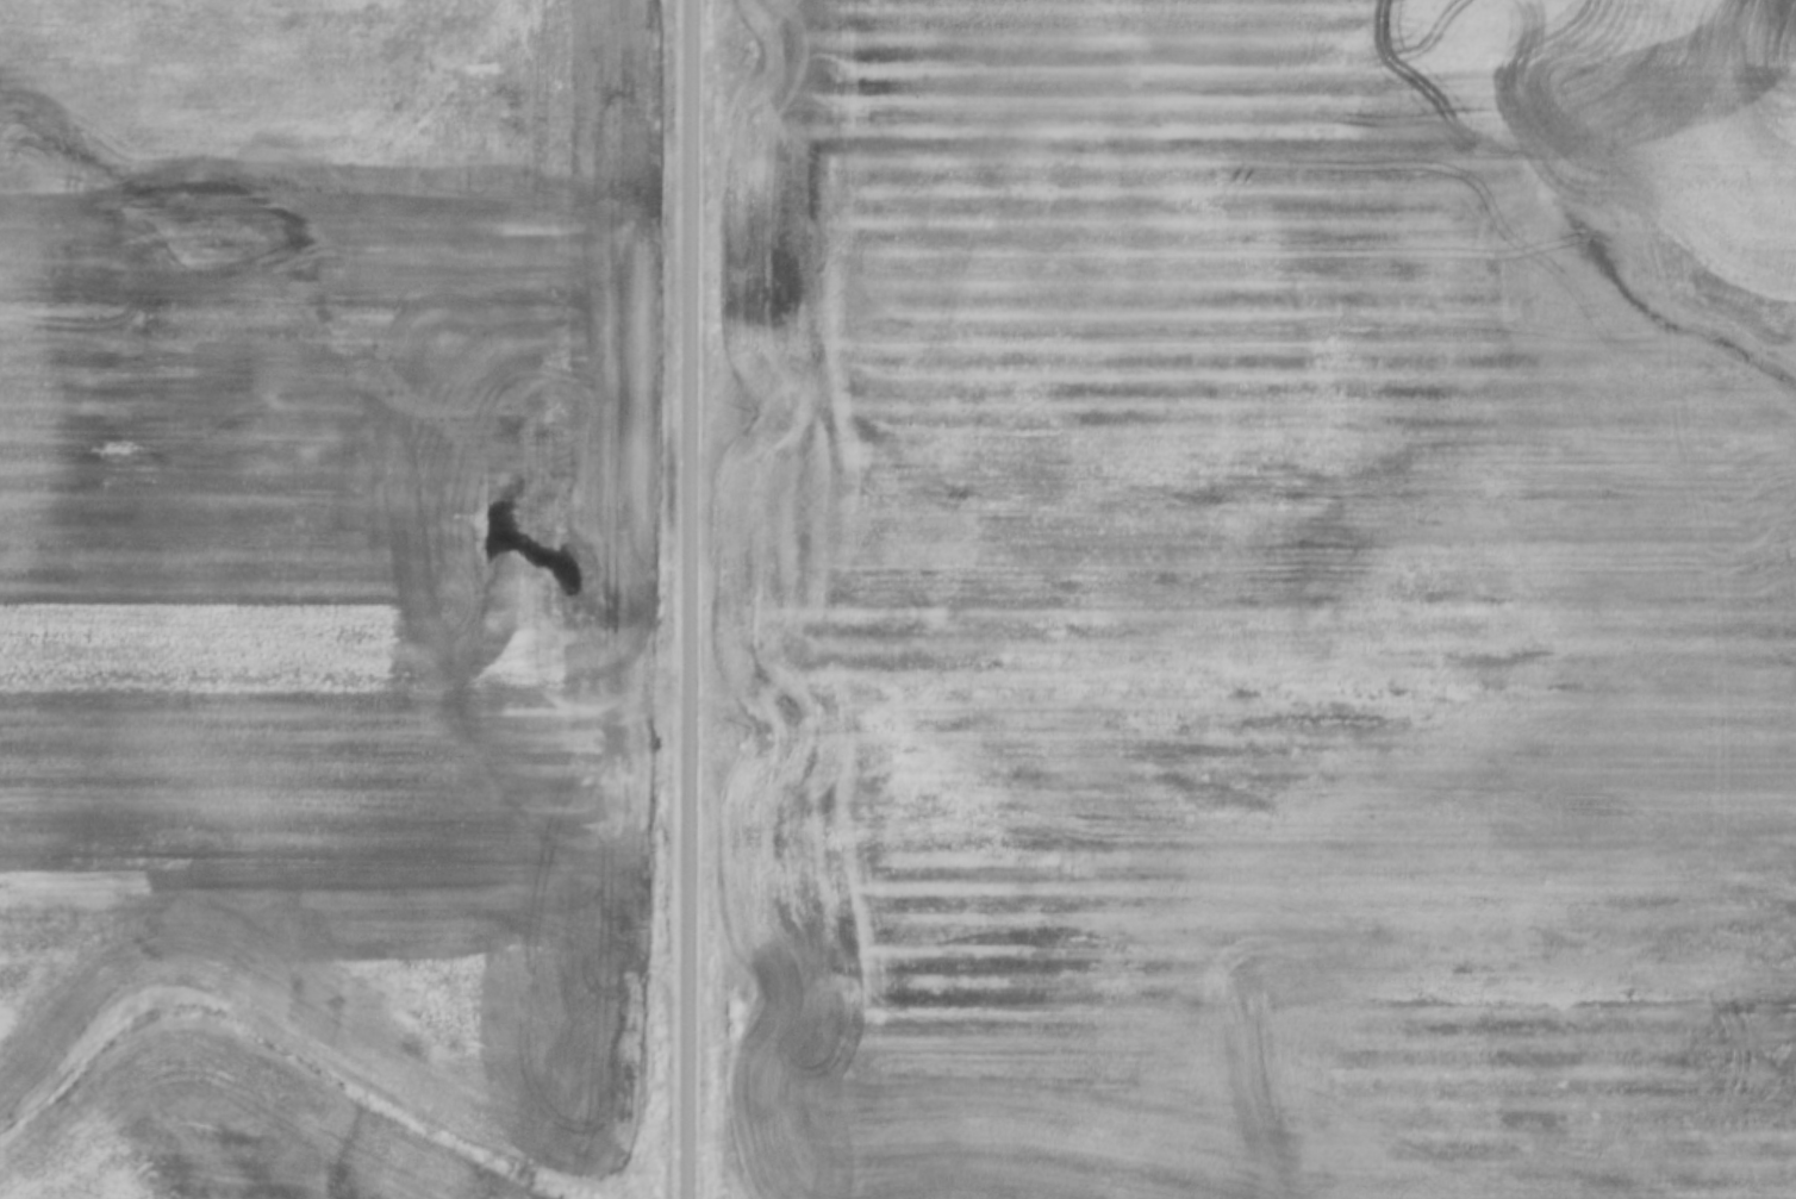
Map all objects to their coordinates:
road: (691, 599)

